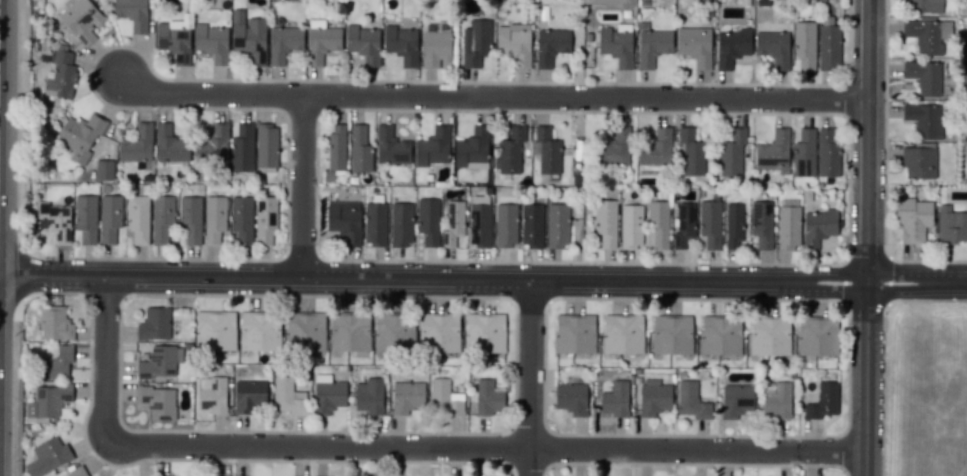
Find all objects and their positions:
building: (925, 6)
building: (131, 13)
building: (81, 20)
building: (924, 36)
building: (248, 37)
building: (173, 40)
building: (321, 41)
building: (211, 42)
building: (283, 43)
building: (474, 43)
building: (513, 43)
building: (363, 44)
building: (401, 44)
building: (616, 44)
building: (436, 45)
building: (651, 45)
building: (694, 45)
building: (804, 45)
building: (550, 46)
building: (774, 46)
building: (731, 47)
building: (828, 47)
building: (60, 76)
building: (964, 76)
building: (923, 77)
road: (492, 97)
building: (923, 120)
building: (79, 136)
road: (867, 141)
building: (136, 144)
building: (213, 144)
building: (169, 145)
building: (266, 146)
building: (390, 146)
building: (432, 147)
building: (242, 148)
building: (336, 148)
building: (614, 148)
building: (359, 149)
building: (472, 149)
building: (655, 149)
building: (773, 150)
building: (509, 151)
building: (545, 151)
building: (690, 152)
building: (827, 152)
building: (731, 153)
building: (803, 154)
building: (918, 162)
building: (103, 170)
road: (301, 187)
building: (190, 217)
building: (85, 218)
building: (109, 218)
building: (137, 218)
building: (161, 218)
building: (214, 219)
building: (913, 219)
building: (241, 220)
building: (264, 220)
building: (54, 221)
building: (344, 221)
building: (427, 221)
building: (453, 223)
building: (605, 223)
building: (658, 223)
building: (374, 224)
building: (400, 224)
building: (683, 224)
building: (761, 224)
building: (479, 225)
building: (505, 225)
building: (531, 225)
building: (557, 225)
building: (951, 225)
building: (630, 226)
building: (732, 226)
building: (788, 228)
building: (817, 228)
road: (433, 279)
road: (917, 282)
building: (54, 323)
building: (154, 324)
building: (214, 330)
building: (259, 331)
building: (304, 331)
building: (349, 332)
building: (393, 332)
building: (439, 332)
building: (484, 332)
building: (574, 334)
building: (622, 334)
building: (671, 335)
building: (720, 335)
building: (769, 336)
building: (816, 337)
building: (159, 362)
building: (56, 363)
road: (532, 378)
road: (866, 379)
building: (212, 394)
building: (327, 394)
building: (247, 395)
building: (369, 396)
building: (287, 397)
building: (406, 397)
building: (653, 397)
building: (488, 398)
building: (570, 398)
building: (444, 399)
building: (615, 399)
building: (776, 399)
building: (735, 400)
building: (47, 401)
building: (691, 401)
building: (822, 401)
building: (157, 402)
road: (400, 447)
building: (48, 457)
building: (78, 473)

